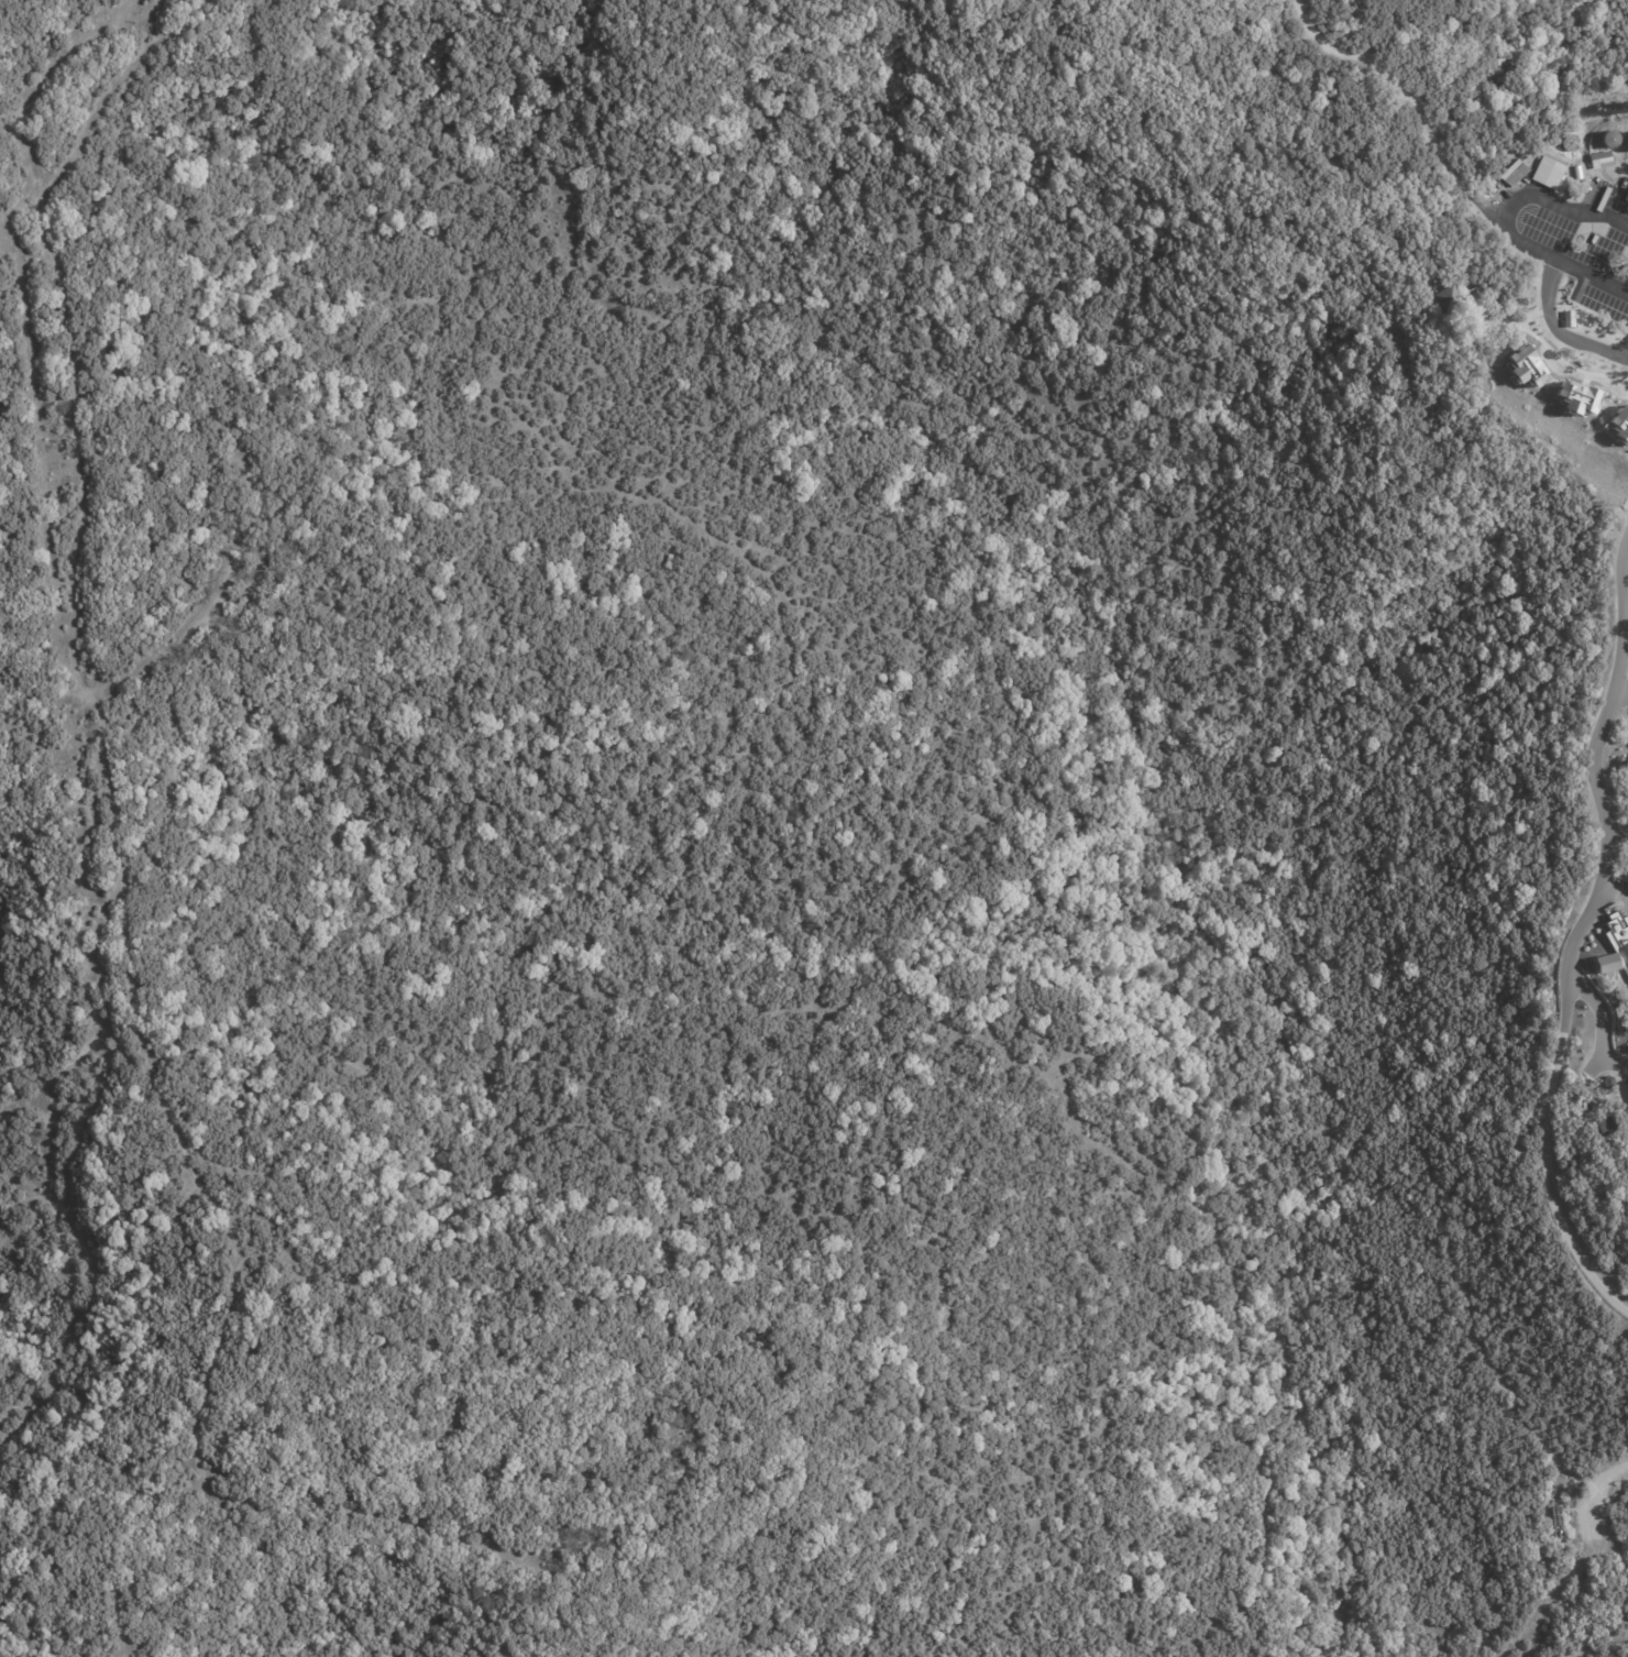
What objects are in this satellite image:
building: (1602, 162)
road: (1559, 237)
building: (1450, 303)
building: (1570, 321)
road: (1555, 326)
road: (1619, 705)
road: (1615, 753)
road: (1582, 930)
building: (1620, 939)
road: (1599, 1016)
building: (1608, 1129)
road: (1572, 1567)

